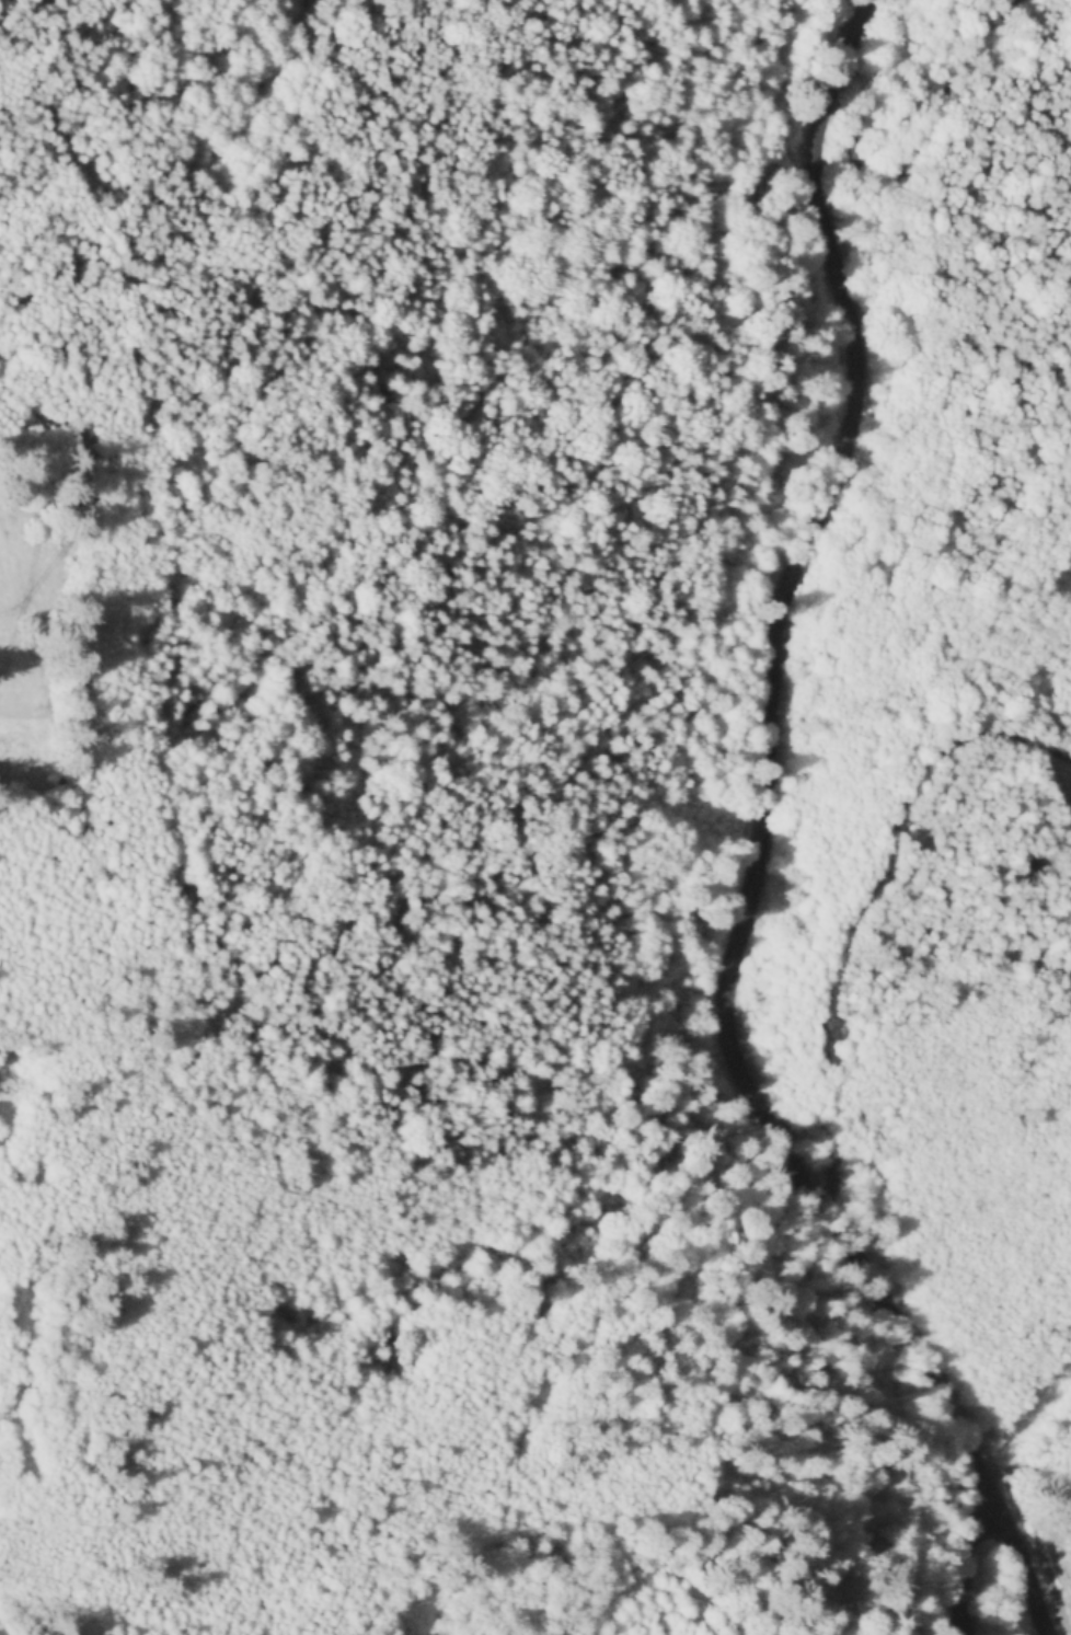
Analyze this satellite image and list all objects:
road: (764, 852)
road: (1010, 1574)

